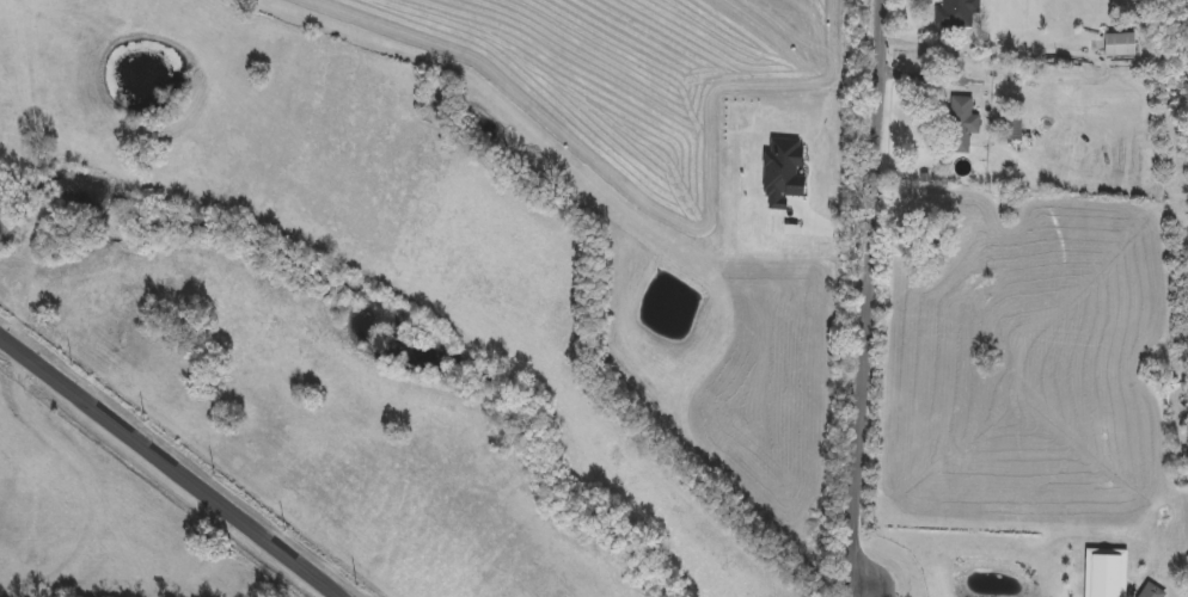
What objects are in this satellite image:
building: (956, 13)
building: (1121, 45)
road: (981, 47)
building: (961, 124)
building: (1012, 128)
building: (783, 168)
road: (866, 297)
road: (170, 466)
building: (1152, 591)

